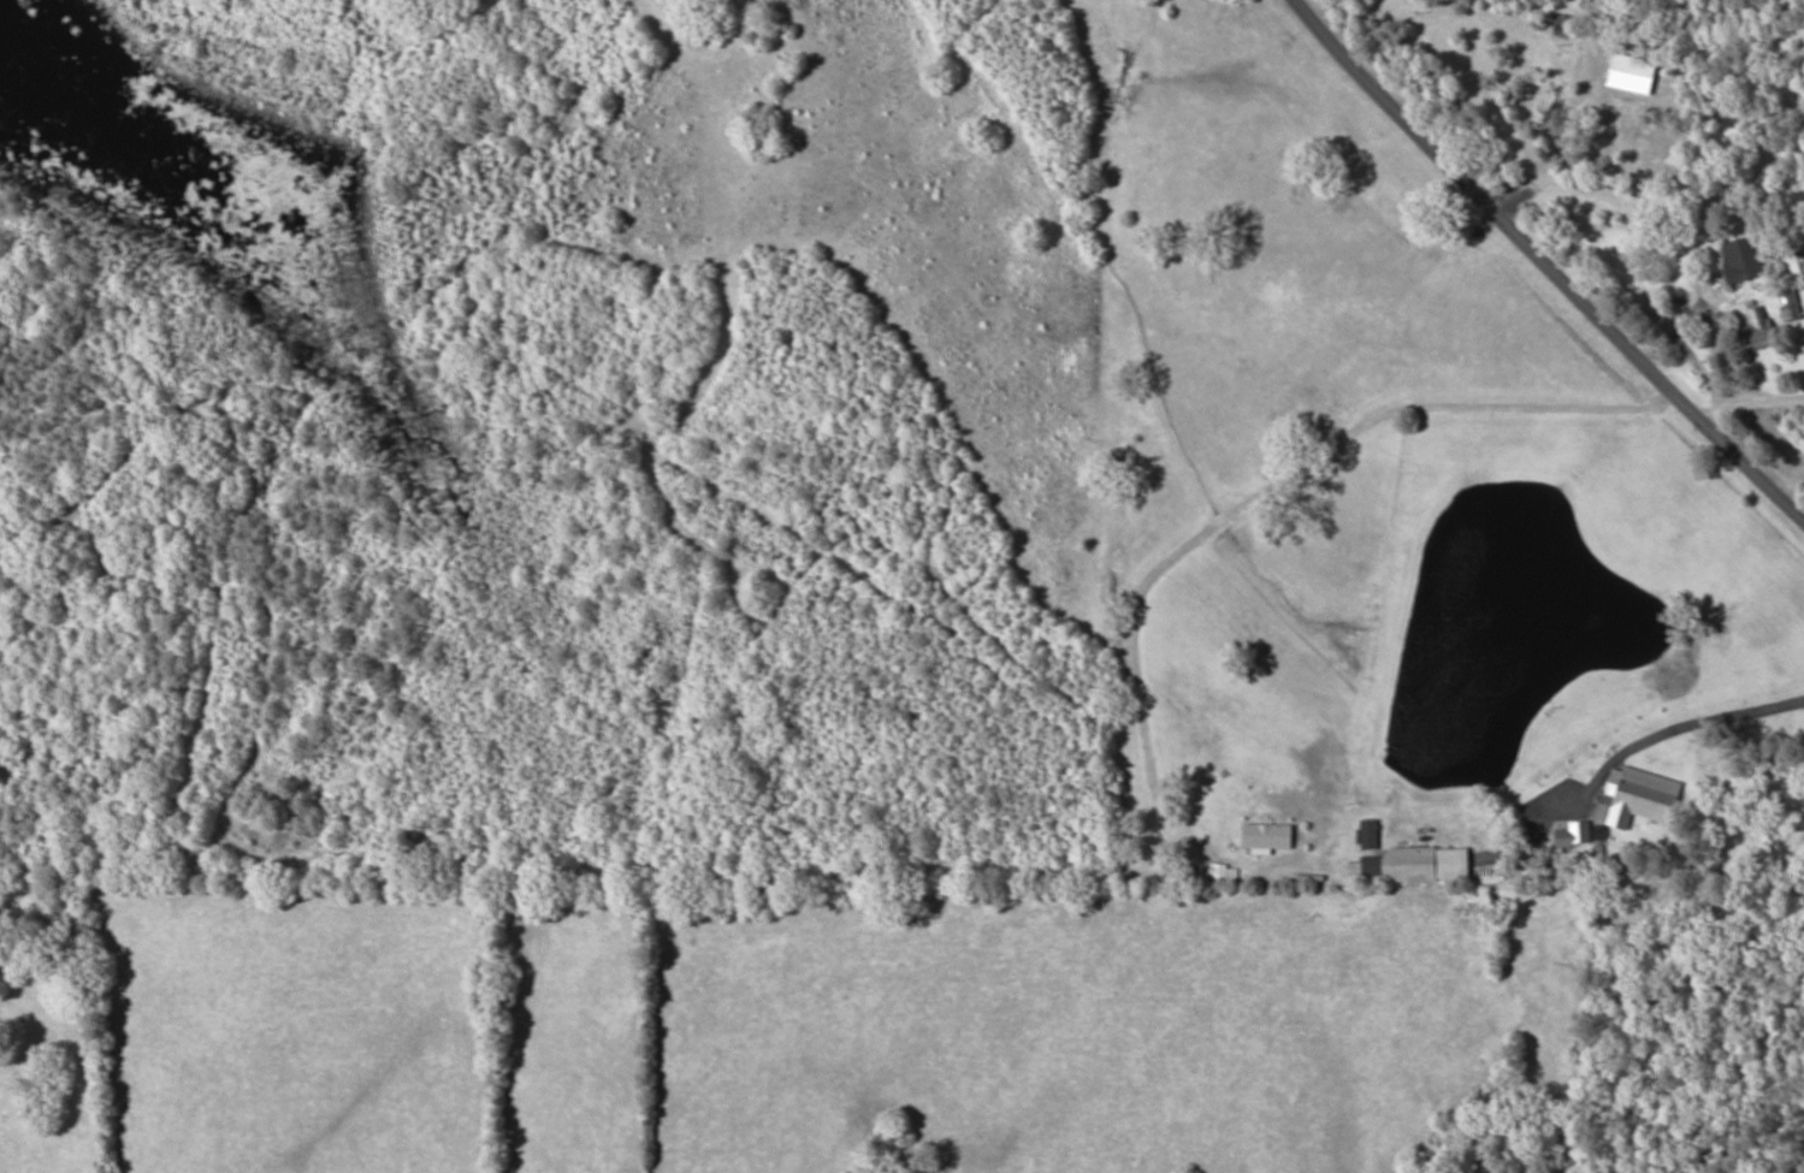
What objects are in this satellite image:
road: (1558, 260)
building: (1741, 260)
building: (1792, 308)
building: (1757, 331)
road: (1467, 681)
building: (1640, 796)
building: (1574, 835)
building: (1413, 859)

